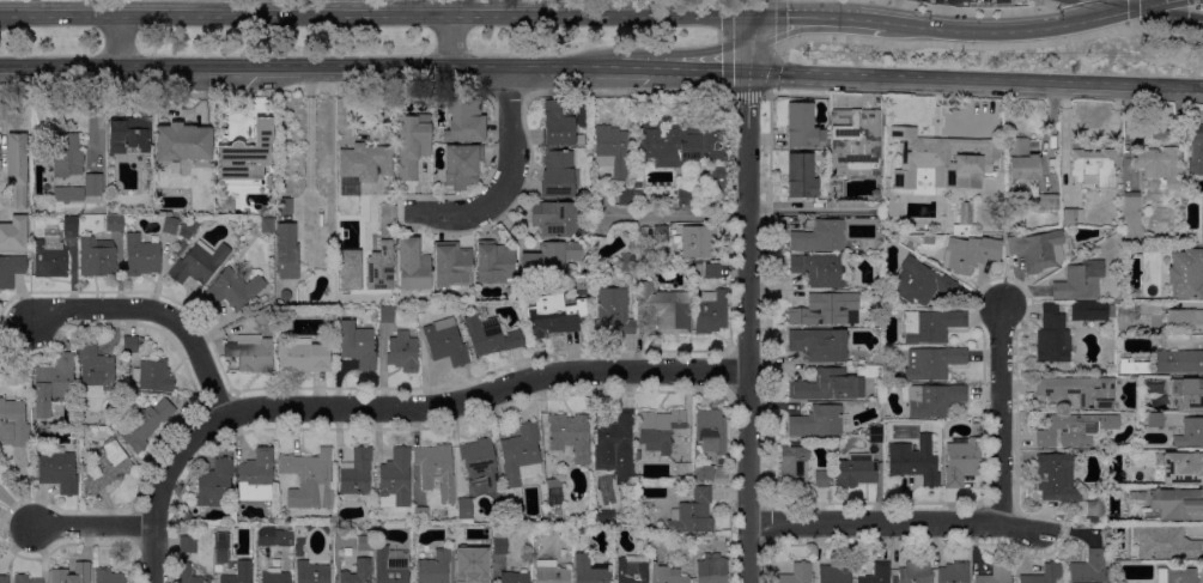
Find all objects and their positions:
road: (1063, 1)
road: (1150, 4)
road: (32, 7)
road: (212, 7)
traffic signals: (1132, 7)
road: (755, 8)
road: (967, 10)
road: (1132, 10)
road: (895, 11)
road: (943, 13)
road: (377, 16)
traffic signals: (755, 17)
road: (825, 17)
road: (1014, 30)
road: (1163, 35)
road: (117, 41)
road: (450, 41)
road: (752, 43)
road: (956, 44)
road: (309, 66)
road: (632, 68)
road: (697, 68)
traffic signals: (748, 69)
road: (940, 77)
road: (1167, 84)
road: (747, 93)
building: (464, 121)
building: (278, 122)
road: (509, 123)
building: (558, 123)
building: (802, 127)
building: (130, 135)
building: (856, 142)
building: (412, 144)
building: (181, 146)
building: (683, 147)
building: (610, 150)
building: (1196, 151)
building: (67, 156)
building: (245, 157)
building: (1022, 159)
building: (941, 160)
building: (365, 162)
building: (0, 165)
building: (462, 165)
building: (1158, 165)
building: (17, 168)
building: (1093, 168)
building: (557, 175)
building: (800, 175)
building: (93, 184)
building: (637, 187)
building: (833, 187)
building: (68, 194)
building: (626, 196)
building: (683, 196)
building: (1047, 201)
building: (227, 204)
building: (285, 206)
road: (807, 208)
building: (267, 212)
road: (466, 212)
road: (673, 213)
building: (1071, 215)
building: (1131, 215)
building: (554, 218)
building: (964, 218)
building: (1202, 219)
building: (69, 224)
building: (114, 224)
building: (169, 225)
building: (267, 225)
building: (124, 227)
building: (13, 233)
building: (660, 233)
building: (820, 237)
building: (698, 241)
building: (1037, 249)
building: (286, 251)
building: (970, 253)
building: (50, 256)
building: (97, 256)
building: (140, 256)
building: (627, 257)
building: (549, 259)
building: (494, 262)
building: (199, 263)
building: (413, 265)
building: (451, 265)
building: (378, 266)
building: (348, 268)
building: (11, 269)
building: (822, 269)
building: (712, 271)
building: (1185, 273)
building: (1080, 280)
building: (919, 283)
building: (233, 289)
building: (285, 294)
building: (262, 298)
building: (666, 309)
building: (1135, 309)
road: (154, 310)
building: (710, 310)
building: (826, 310)
building: (613, 311)
building: (1089, 311)
building: (387, 314)
building: (554, 315)
building: (262, 316)
building: (1184, 320)
building: (931, 324)
road: (747, 326)
building: (491, 336)
building: (1052, 336)
building: (445, 342)
building: (130, 344)
building: (358, 345)
building: (819, 345)
building: (402, 352)
building: (254, 353)
building: (303, 356)
building: (1178, 362)
building: (931, 363)
building: (1131, 368)
building: (95, 369)
building: (153, 376)
building: (53, 383)
building: (828, 385)
building: (1153, 385)
building: (1079, 390)
road: (485, 394)
building: (1187, 395)
building: (932, 400)
road: (1001, 415)
building: (1142, 417)
building: (1155, 420)
building: (14, 421)
building: (818, 421)
building: (144, 425)
building: (658, 430)
building: (711, 430)
building: (1075, 430)
building: (1190, 433)
building: (875, 435)
building: (570, 437)
building: (614, 443)
building: (521, 455)
building: (638, 455)
building: (915, 461)
building: (961, 461)
building: (480, 462)
building: (433, 464)
building: (792, 464)
building: (107, 467)
building: (1183, 468)
building: (57, 469)
building: (856, 470)
building: (705, 473)
building: (356, 474)
building: (311, 475)
building: (256, 476)
building: (1056, 478)
building: (395, 479)
building: (821, 479)
building: (214, 484)
road: (160, 486)
building: (554, 492)
building: (1177, 504)
building: (1095, 508)
building: (464, 510)
building: (693, 514)
building: (186, 515)
building: (421, 515)
building: (604, 517)
road: (91, 524)
road: (897, 524)
building: (481, 533)
building: (273, 536)
building: (363, 542)
building: (1165, 542)
building: (499, 543)
building: (658, 543)
building: (188, 545)
building: (221, 547)
building: (390, 564)
building: (186, 567)
building: (433, 569)
building: (468, 569)
building: (632, 569)
building: (711, 569)
building: (1089, 569)
building: (590, 570)
building: (312, 571)
building: (73, 572)
building: (358, 572)
building: (551, 572)
building: (836, 572)
building: (915, 572)
building: (954, 572)
building: (239, 573)
building: (797, 573)
building: (876, 573)
building: (996, 575)
building: (1045, 575)
building: (108, 576)
building: (670, 576)
building: (1177, 576)
building: (275, 577)
building: (514, 577)
building: (4, 578)
building: (25, 579)
building: (1117, 582)

